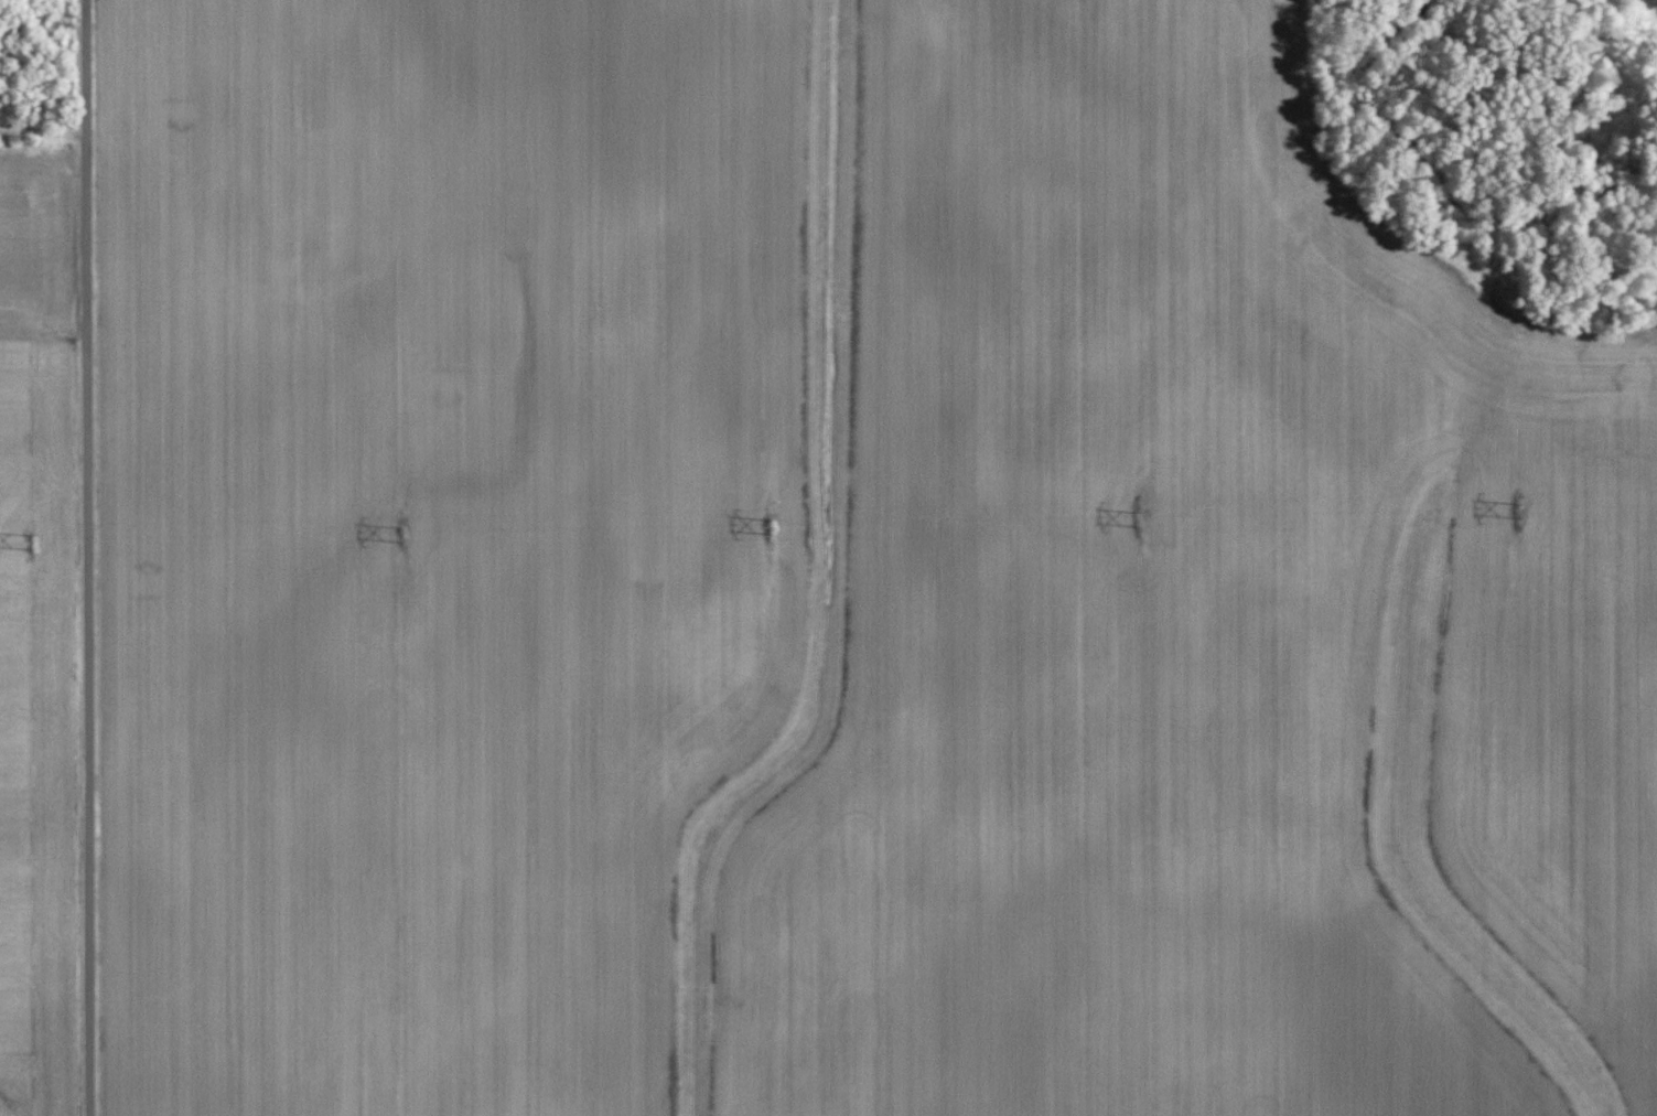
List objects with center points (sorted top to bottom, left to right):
power tower: (1520, 509)
power tower: (1139, 519)
power tower: (770, 527)
power tower: (399, 534)
power tower: (31, 539)
road: (87, 558)

